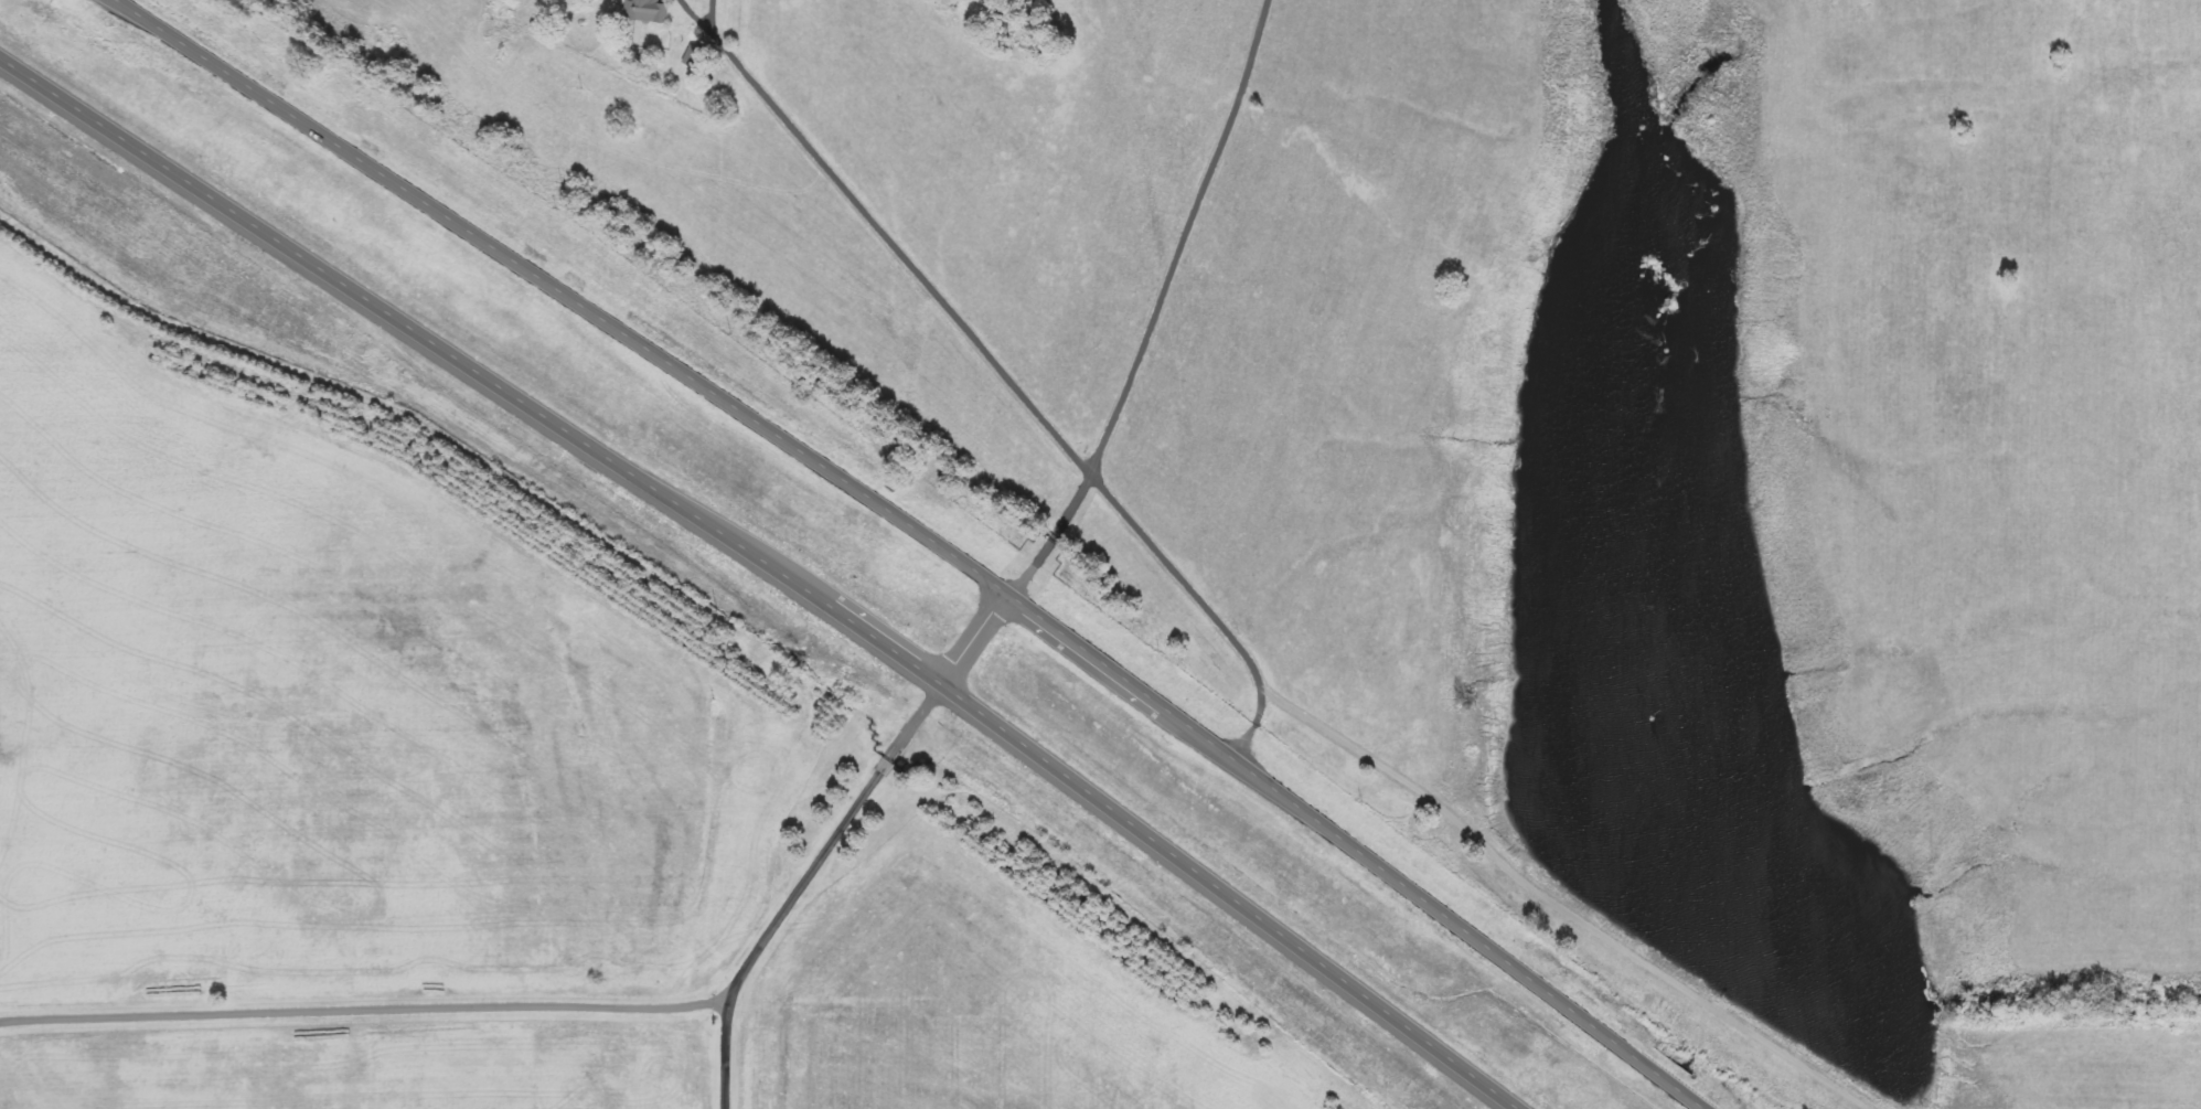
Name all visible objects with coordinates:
building: (649, 11)
building: (696, 57)
road: (915, 535)
road: (769, 572)
road: (609, 1012)
road: (726, 1051)

